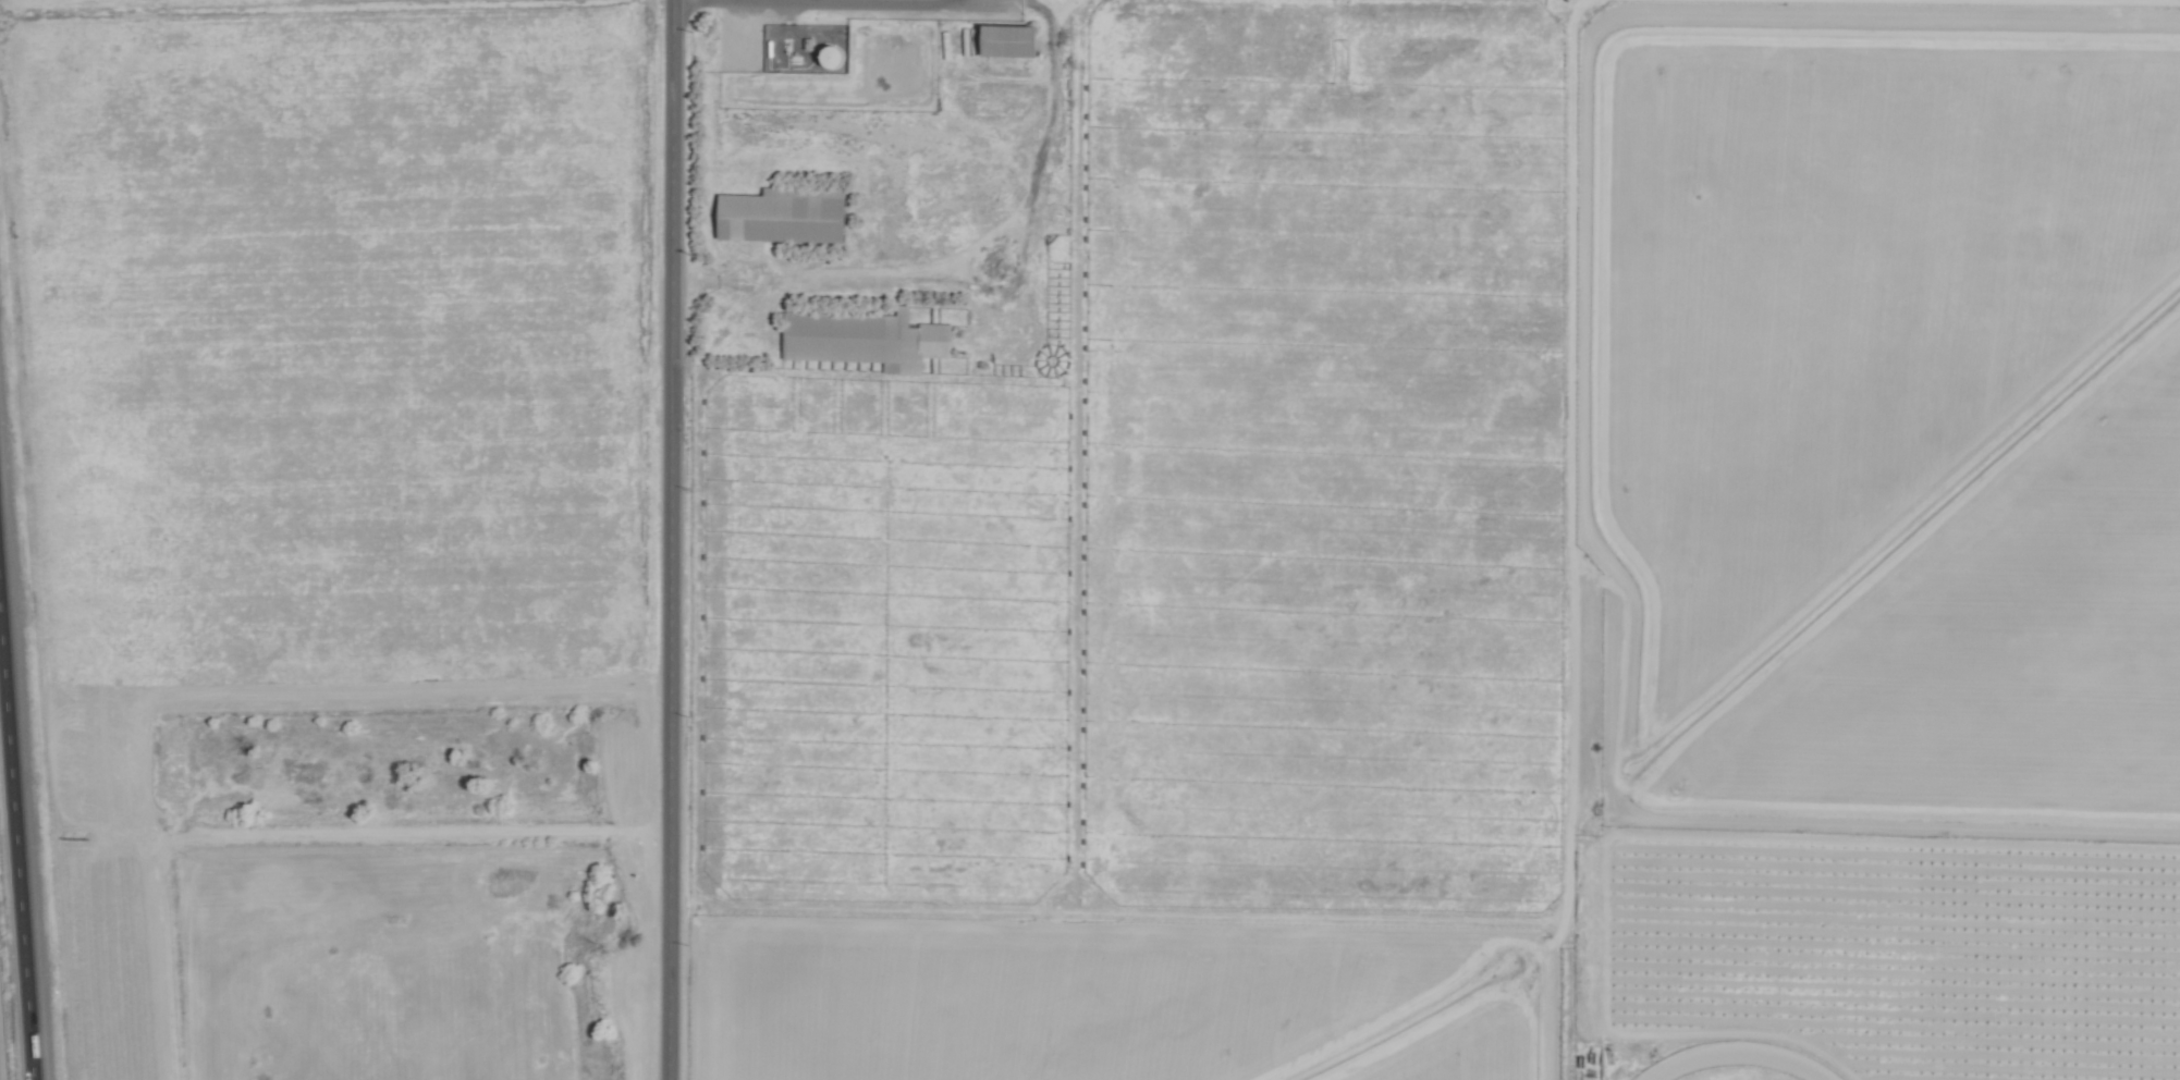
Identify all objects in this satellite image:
road: (806, 3)
building: (1005, 39)
road: (963, 247)
crop: (1442, 525)
crop: (1091, 539)
road: (1567, 539)
road: (669, 540)
road: (16, 854)

